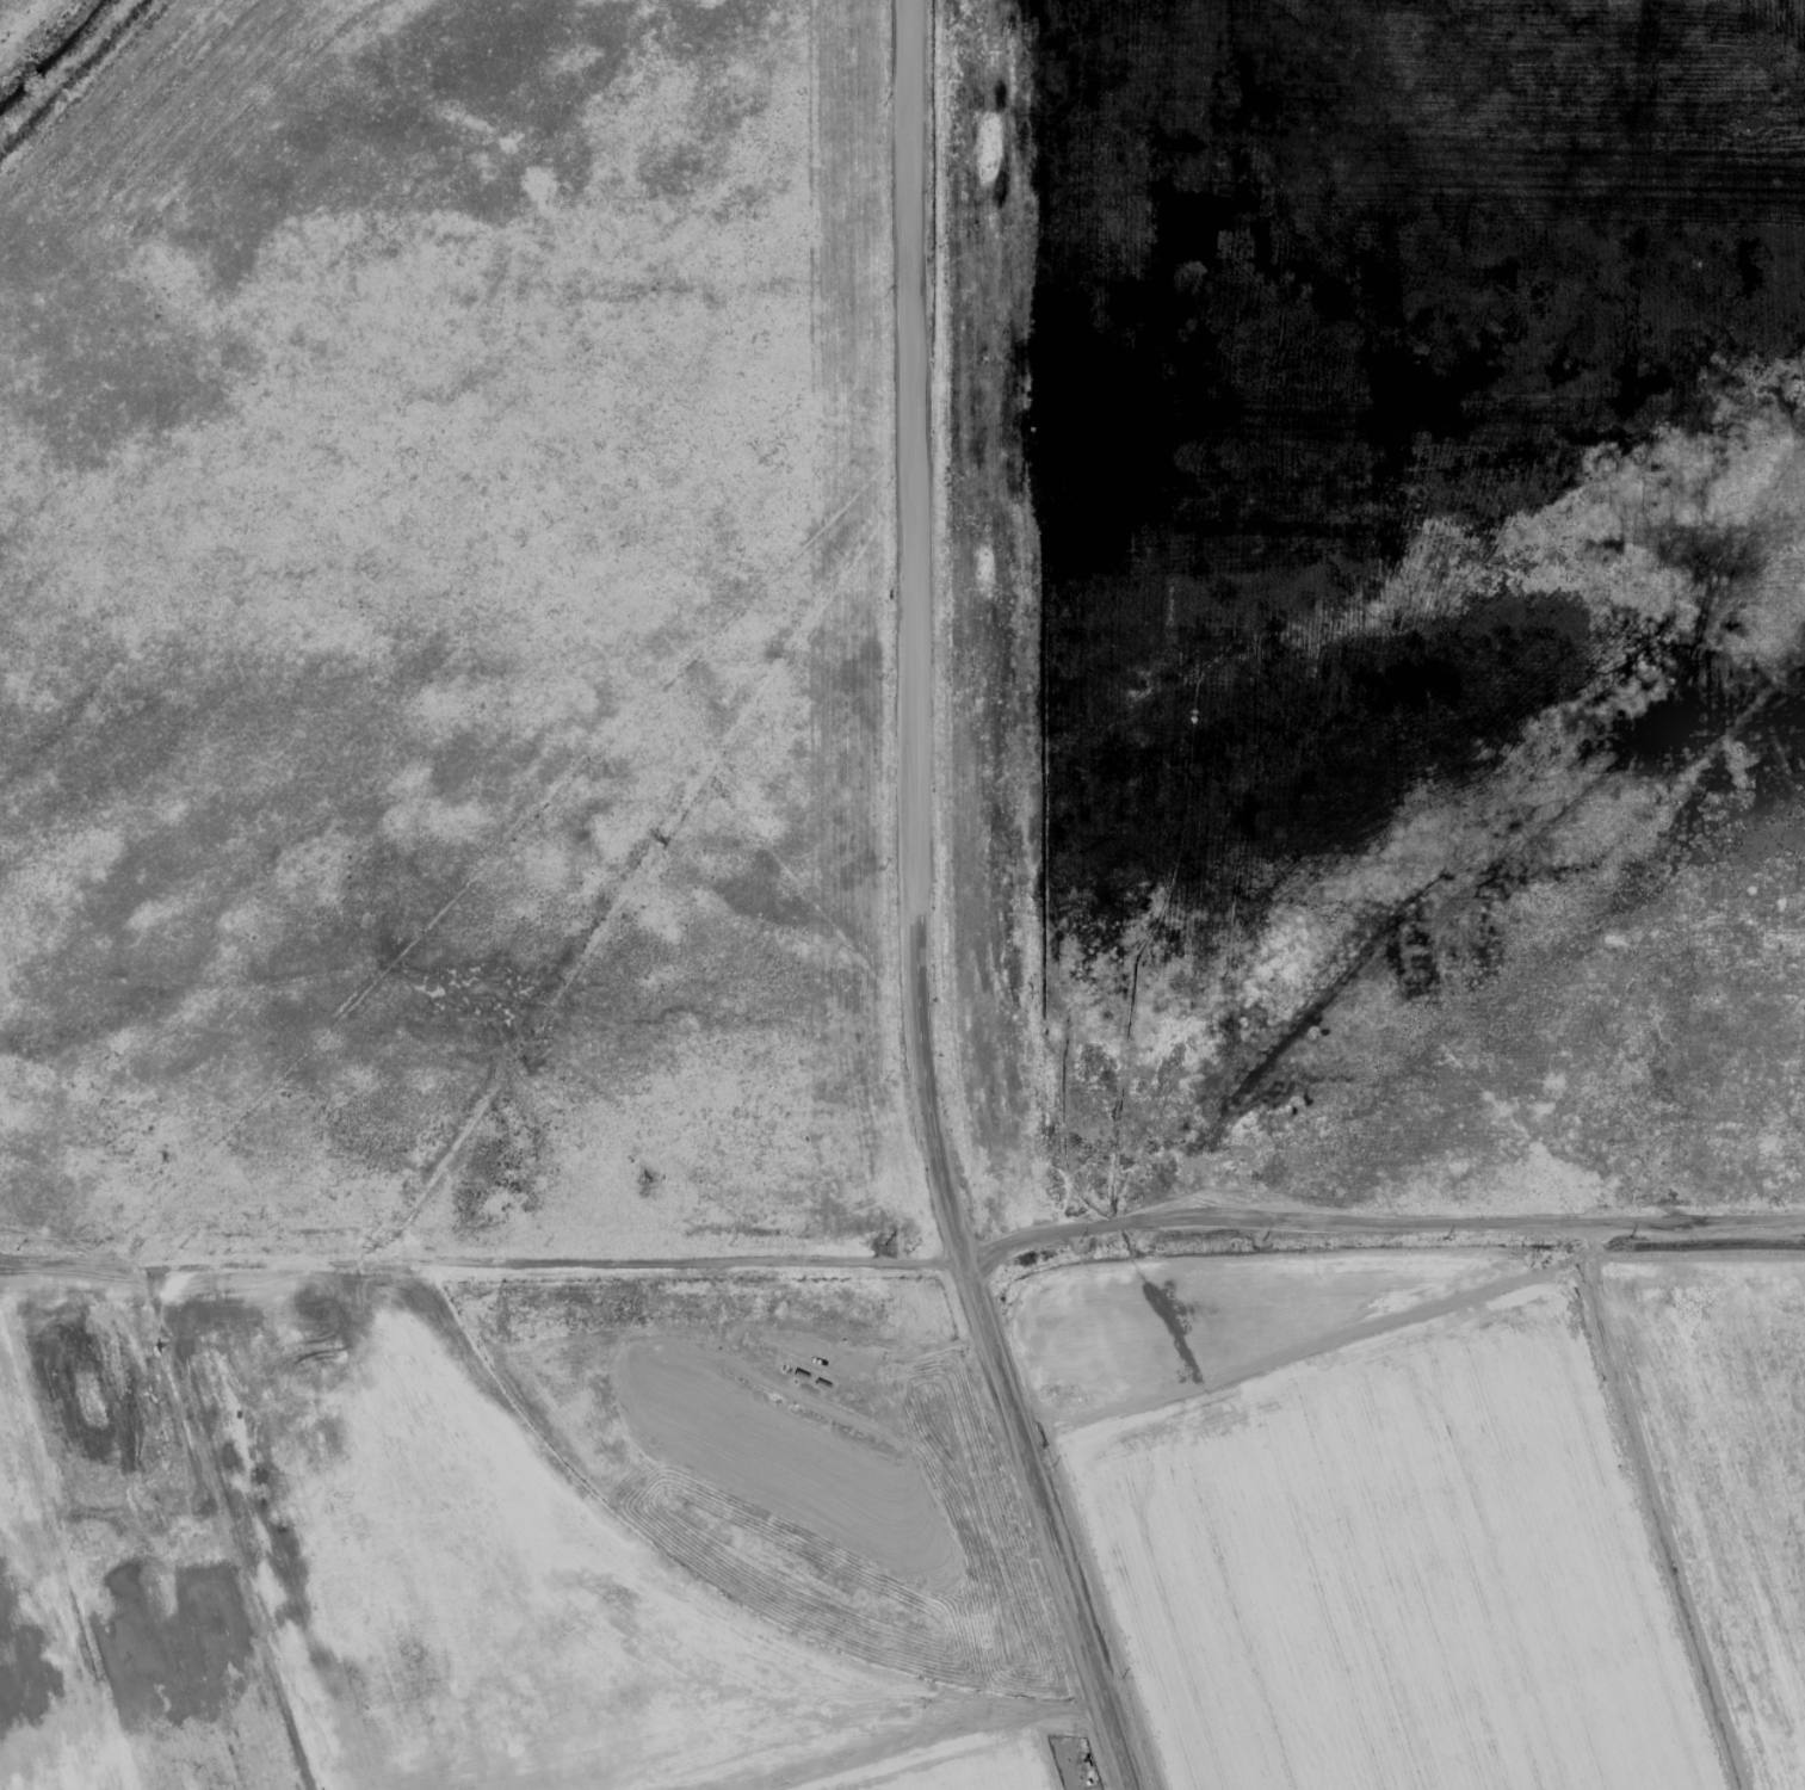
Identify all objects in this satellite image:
river: (51, 54)
road: (911, 911)
road: (902, 1261)

